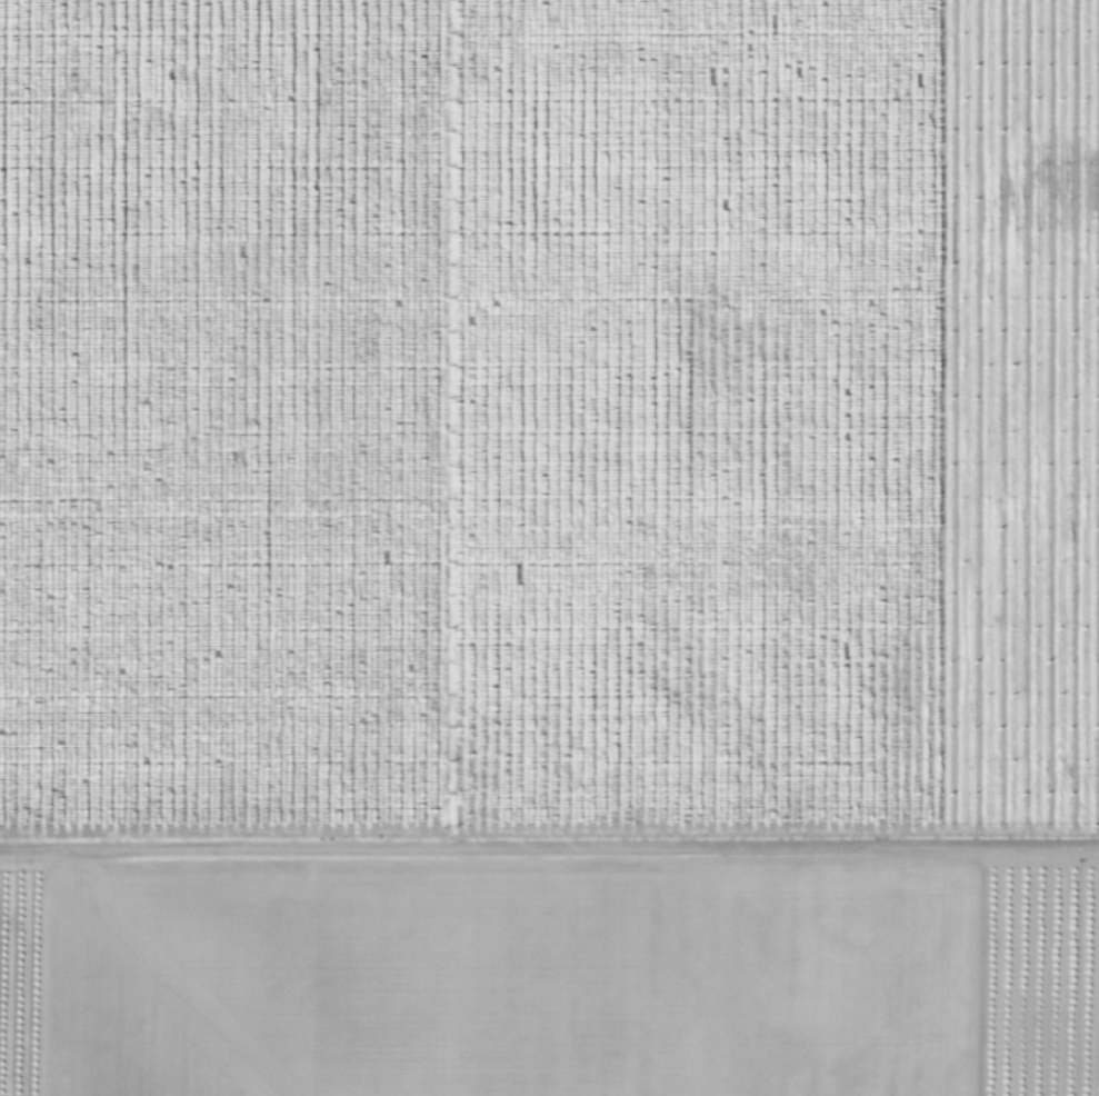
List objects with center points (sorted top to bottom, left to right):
crop: (552, 974)

